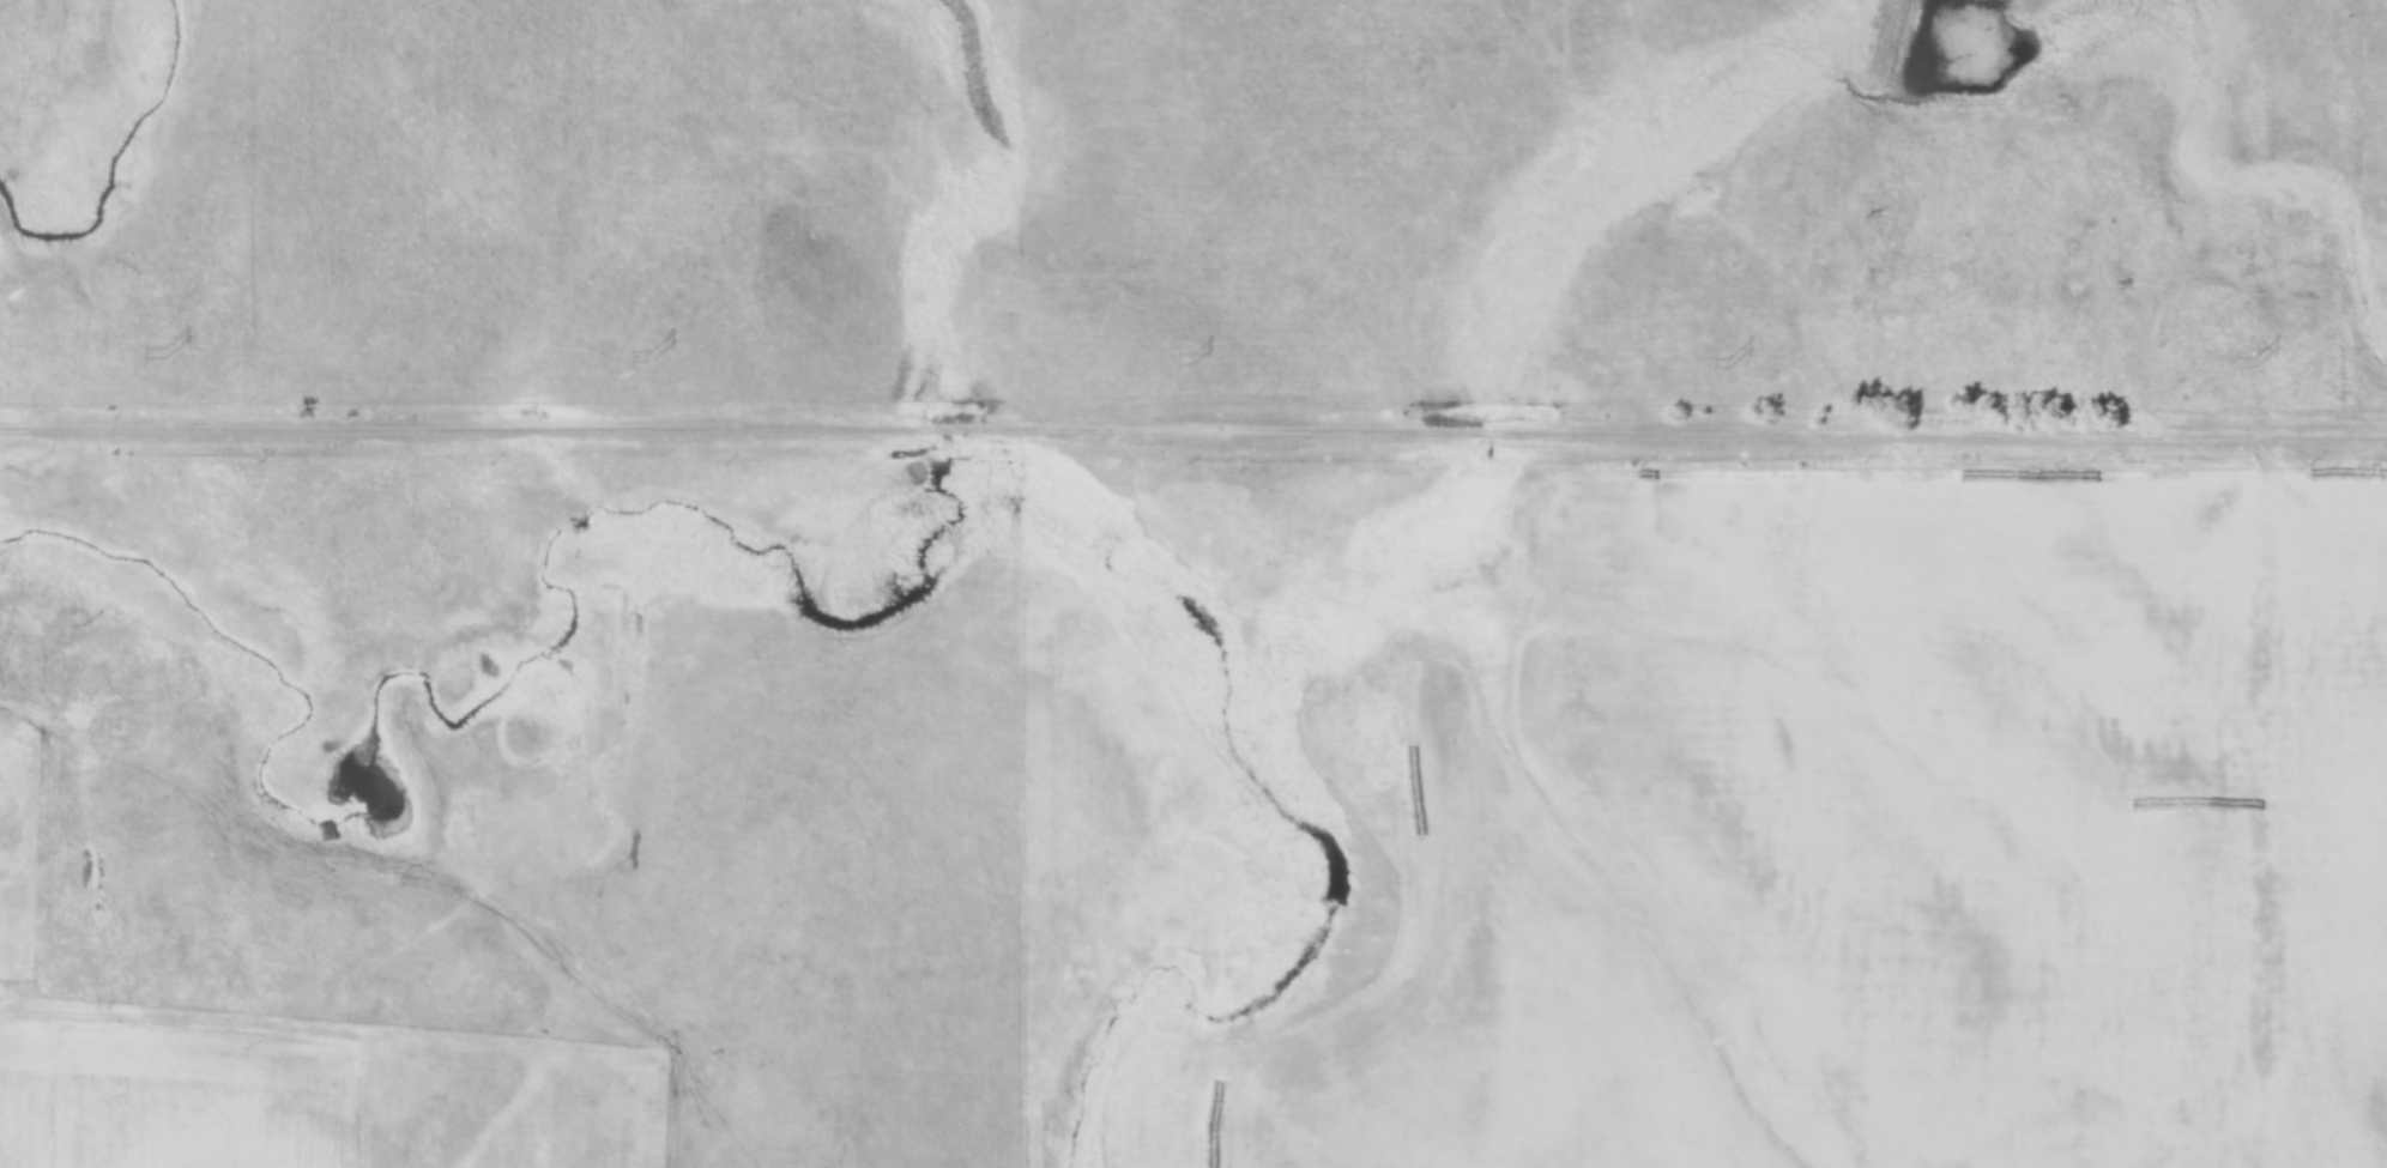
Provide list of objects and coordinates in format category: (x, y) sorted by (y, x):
power tower: (164, 353)
power tower: (649, 357)
power tower: (1196, 359)
power tower: (2249, 362)
power tower: (1733, 363)
road: (1192, 436)

